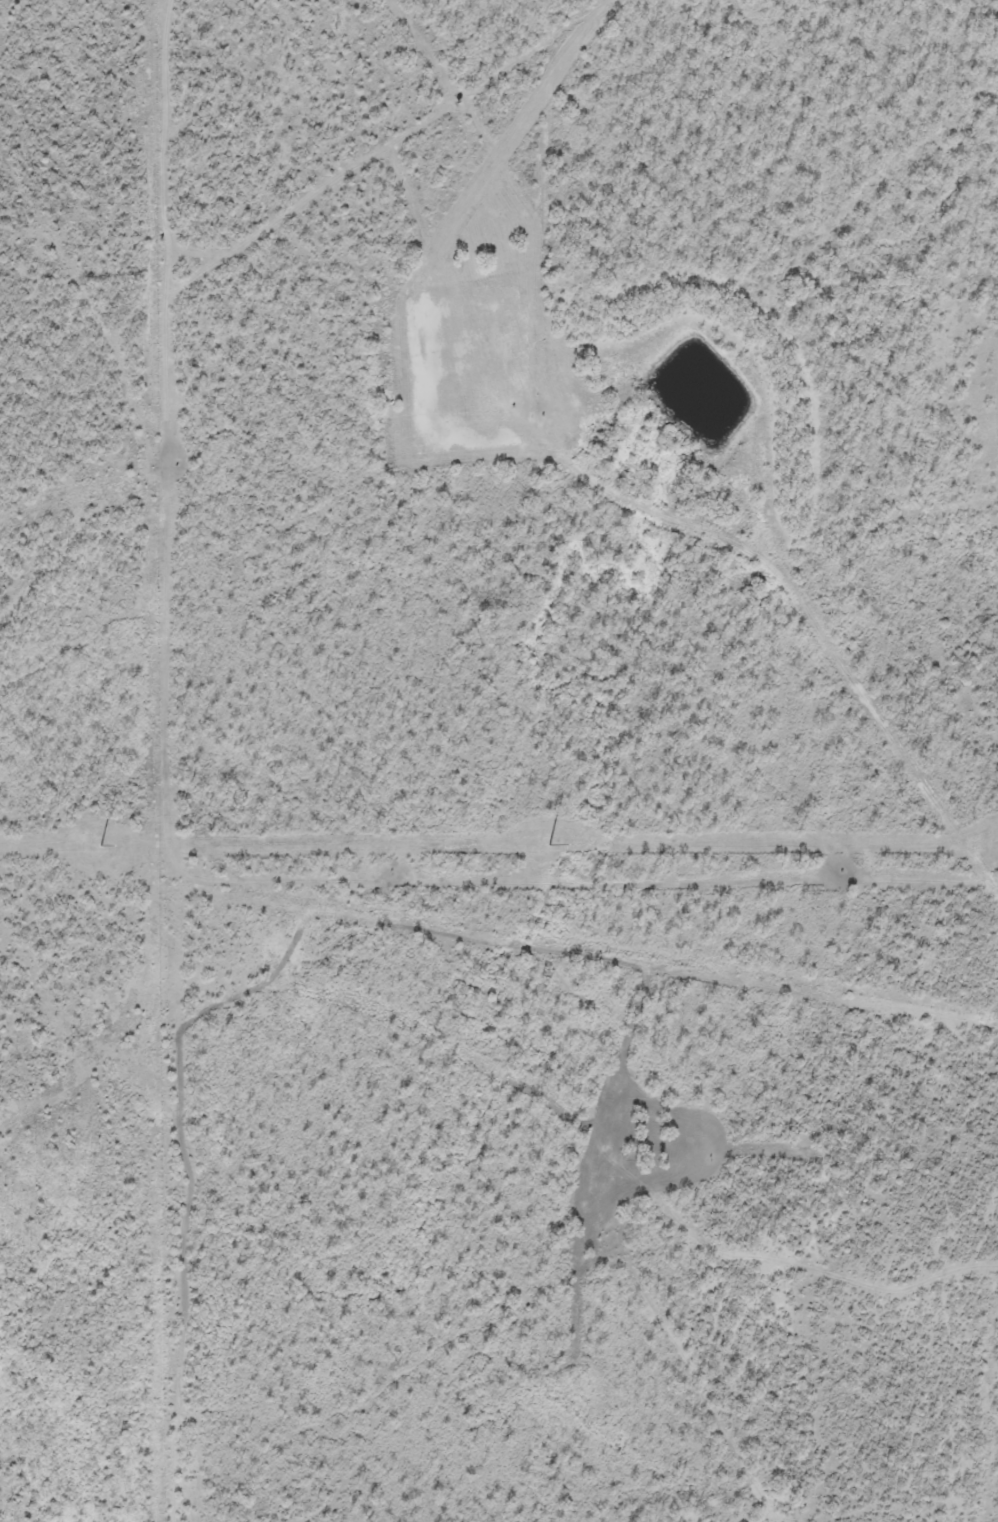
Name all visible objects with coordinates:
power tower: (102, 843)
power tower: (550, 844)

